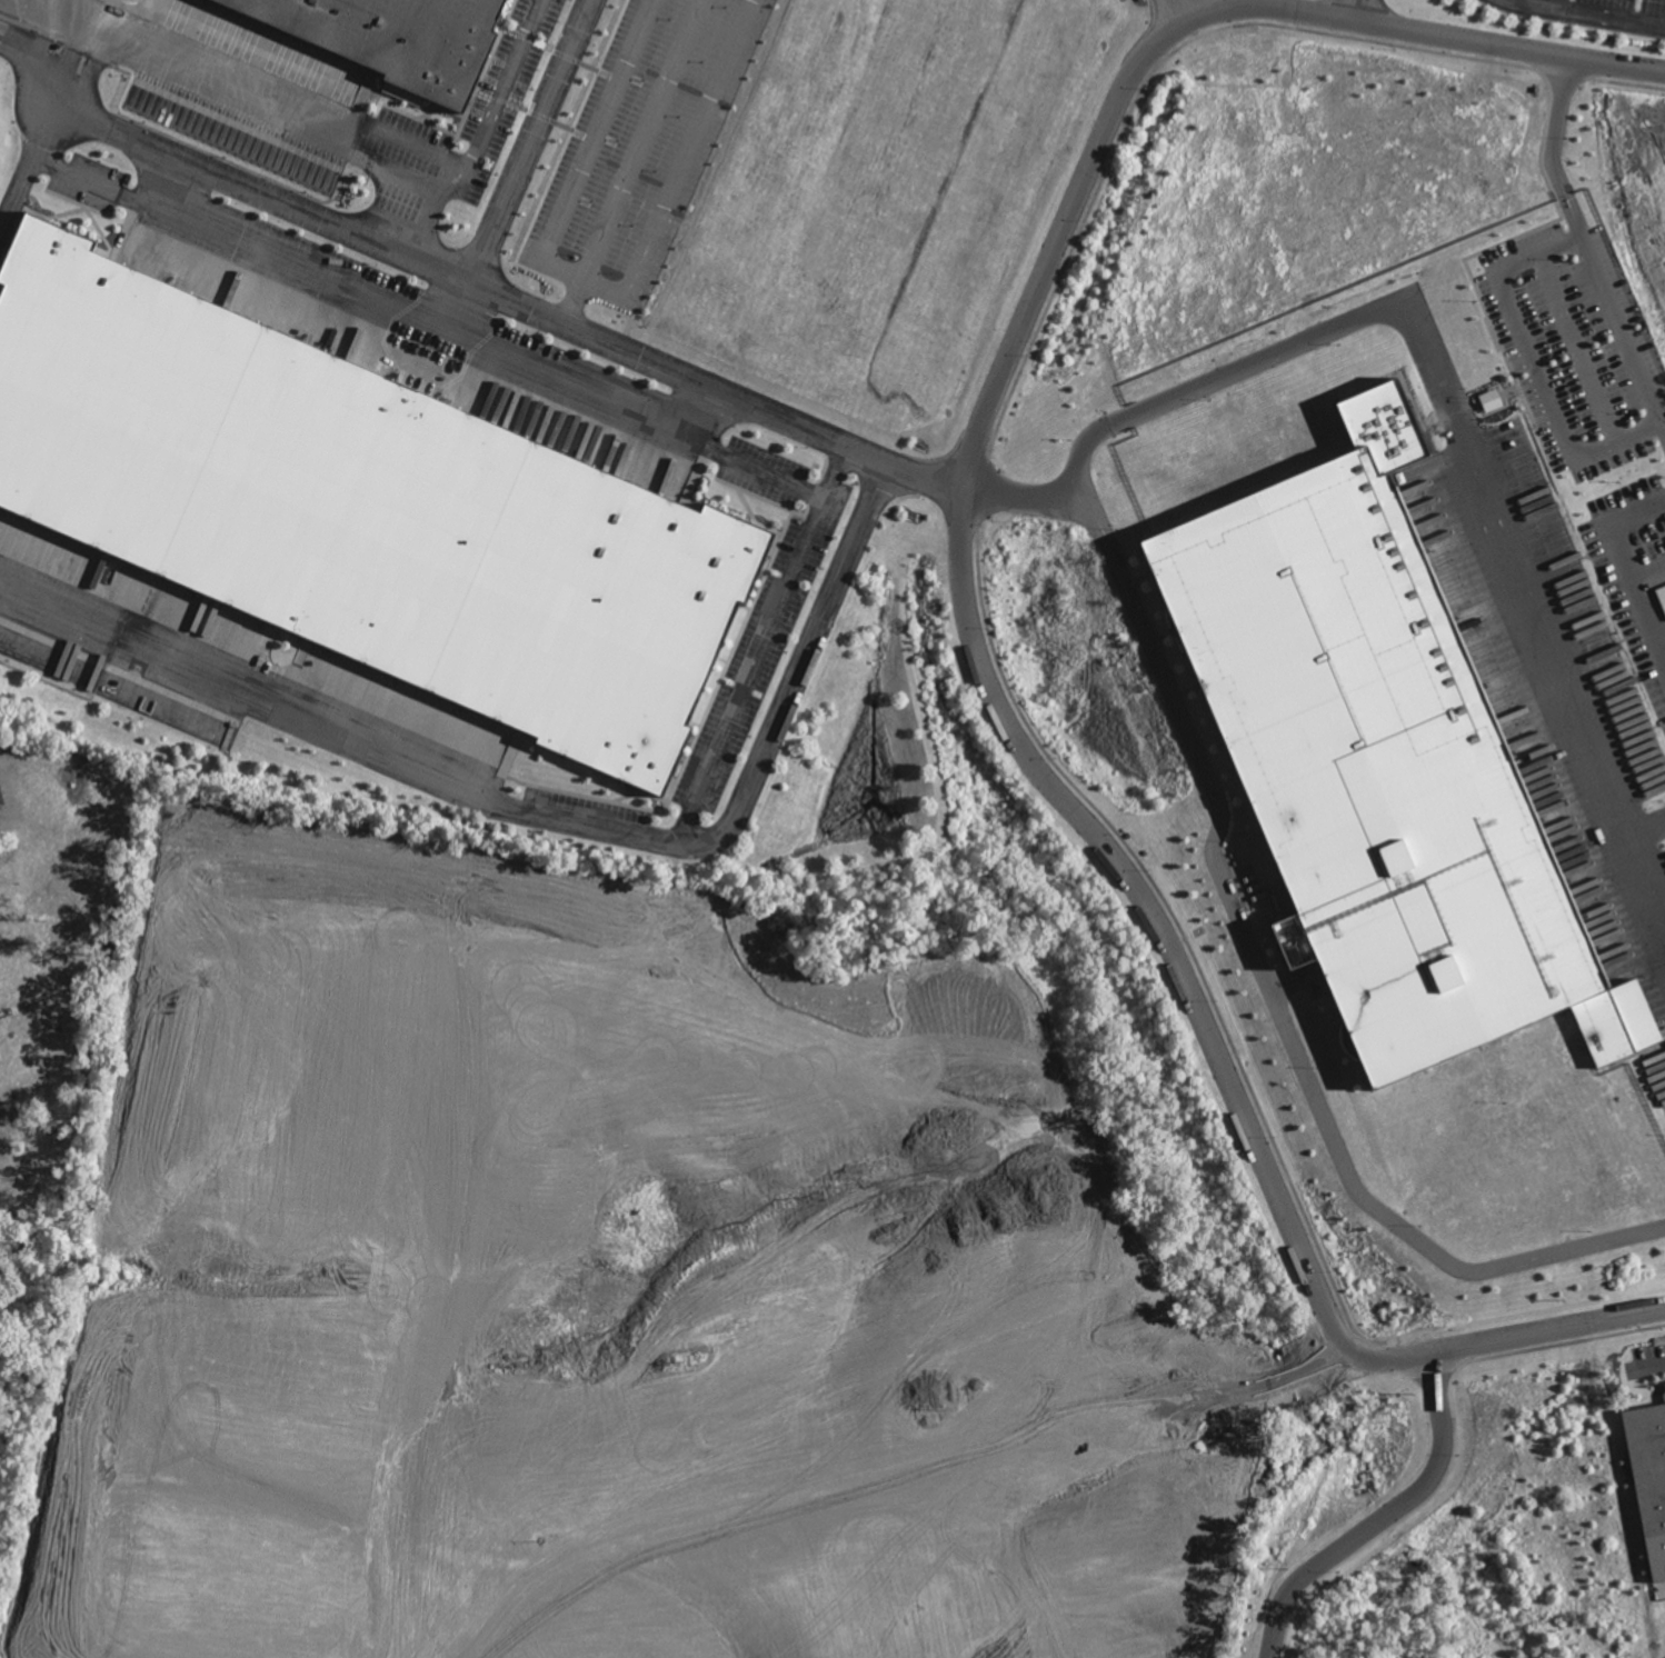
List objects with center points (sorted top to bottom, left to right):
road: (1187, 10)
road: (1355, 11)
road: (1595, 12)
road: (1172, 36)
building: (399, 39)
road: (499, 92)
road: (259, 98)
road: (529, 139)
road: (632, 160)
road: (78, 172)
road: (19, 191)
road: (428, 214)
road: (1585, 244)
road: (1662, 247)
road: (461, 274)
road: (601, 283)
road: (458, 303)
road: (495, 352)
road: (1434, 359)
road: (1542, 367)
building: (1490, 399)
road: (690, 408)
building: (363, 510)
road: (1629, 565)
building: (1661, 597)
road: (1663, 641)
road: (332, 739)
building: (1382, 763)
building: (0, 795)
road: (720, 832)
road: (1652, 833)
road: (1275, 1000)
road: (1220, 1055)
road: (1655, 1365)
building: (1647, 1462)
road: (1379, 1516)

